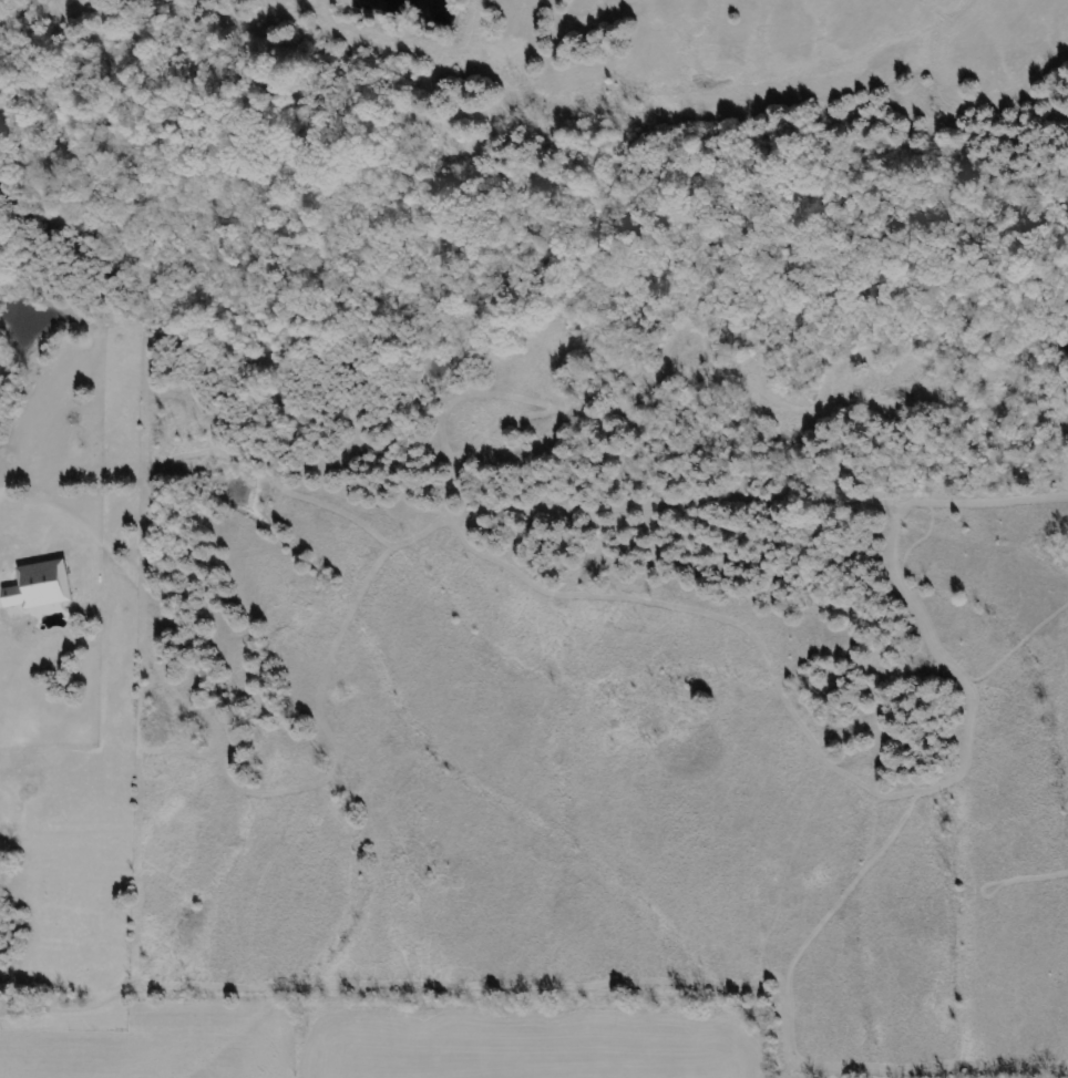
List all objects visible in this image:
building: (42, 585)

